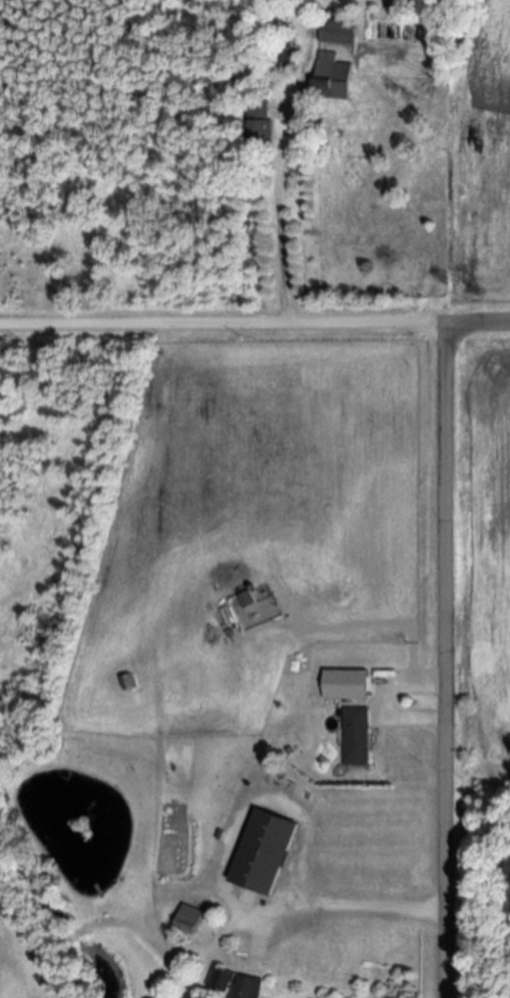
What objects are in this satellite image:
building: (336, 32)
building: (331, 77)
building: (257, 123)
road: (276, 220)
road: (222, 323)
road: (477, 323)
building: (245, 599)
road: (444, 661)
building: (345, 684)
road: (384, 703)
building: (356, 735)
building: (263, 850)
road: (296, 915)
building: (188, 918)
building: (236, 984)

